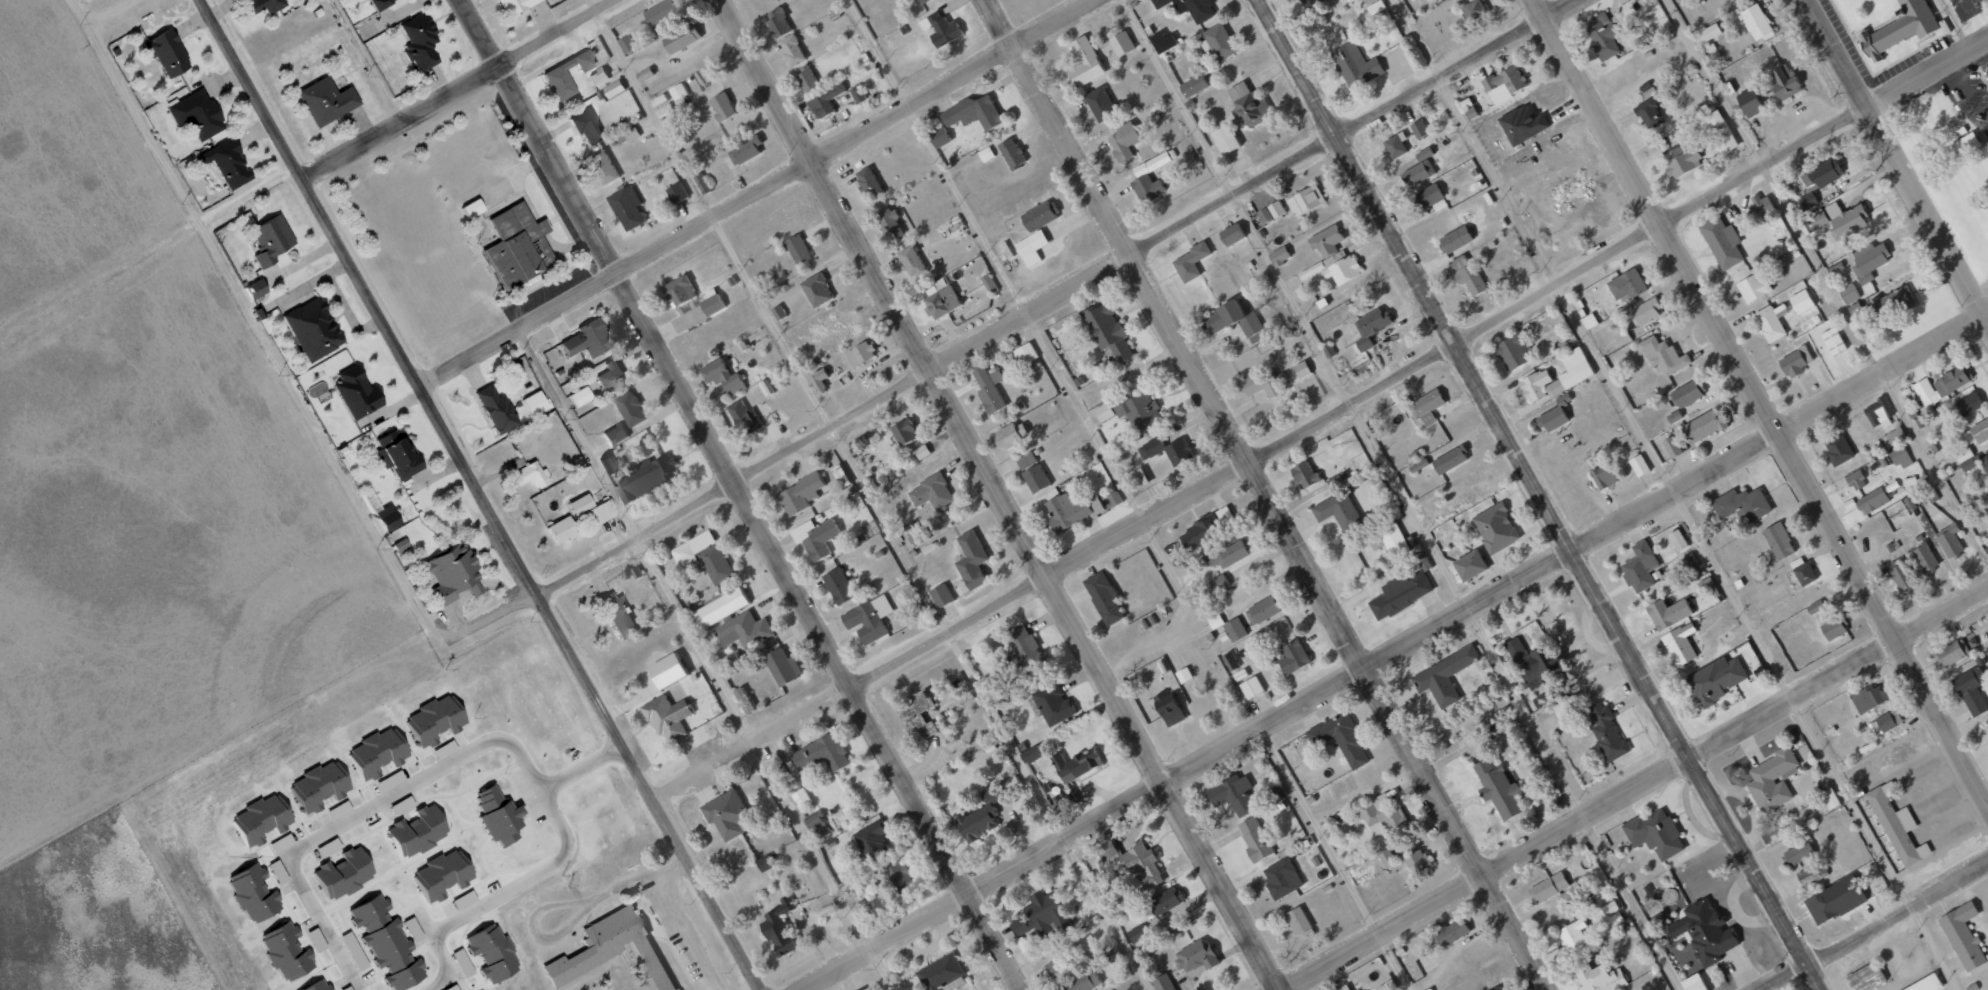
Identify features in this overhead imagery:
building: (918, 1)
building: (376, 3)
building: (1310, 3)
building: (261, 5)
building: (512, 5)
building: (1191, 8)
building: (1473, 9)
building: (659, 17)
building: (778, 22)
building: (1756, 22)
road: (1955, 26)
building: (943, 29)
building: (1902, 29)
building: (1708, 33)
building: (1603, 35)
building: (682, 38)
building: (416, 41)
building: (1163, 41)
building: (1218, 42)
building: (627, 43)
building: (1121, 43)
building: (791, 50)
building: (163, 51)
road: (367, 60)
building: (581, 60)
building: (1085, 63)
building: (1355, 64)
building: (645, 74)
building: (597, 76)
building: (807, 79)
building: (556, 80)
building: (1784, 81)
building: (1504, 83)
building: (1193, 85)
building: (614, 88)
road: (457, 89)
building: (678, 90)
building: (859, 94)
building: (322, 100)
building: (825, 101)
building: (1100, 103)
building: (1749, 103)
building: (1247, 104)
building: (722, 106)
building: (974, 111)
building: (193, 113)
building: (1649, 113)
building: (584, 125)
building: (1419, 128)
building: (1720, 131)
building: (628, 135)
building: (940, 136)
building: (1225, 139)
building: (1123, 141)
building: (1965, 144)
building: (1395, 145)
building: (744, 150)
building: (1012, 152)
building: (987, 154)
building: (1424, 154)
building: (1681, 160)
building: (224, 162)
road: (1893, 164)
building: (602, 166)
building: (1418, 172)
building: (1142, 175)
building: (1818, 181)
building: (868, 182)
building: (702, 183)
road: (1250, 184)
building: (1567, 189)
building: (677, 192)
road: (758, 193)
building: (1429, 195)
building: (1306, 199)
building: (1763, 205)
building: (626, 207)
building: (467, 208)
building: (1271, 212)
building: (1040, 215)
building: (1846, 219)
building: (1818, 220)
building: (892, 222)
building: (1231, 234)
building: (267, 238)
building: (1455, 239)
building: (1326, 241)
building: (1722, 242)
building: (1031, 243)
building: (517, 247)
building: (798, 249)
building: (1279, 255)
building: (911, 261)
building: (1191, 261)
building: (1868, 261)
building: (1334, 269)
building: (1467, 274)
building: (989, 282)
road: (1827, 284)
building: (1626, 285)
building: (1753, 287)
building: (251, 289)
building: (678, 290)
building: (817, 290)
building: (1849, 293)
building: (1801, 301)
building: (942, 302)
building: (1893, 303)
building: (712, 304)
building: (1645, 311)
building: (1231, 319)
building: (1770, 322)
building: (1370, 326)
building: (308, 329)
building: (1108, 330)
building: (584, 338)
building: (1833, 341)
building: (1513, 351)
building: (860, 353)
building: (1025, 354)
building: (1663, 355)
building: (1794, 362)
building: (1302, 369)
building: (1571, 372)
road: (284, 374)
building: (610, 374)
building: (723, 376)
building: (1953, 379)
building: (819, 380)
building: (1264, 384)
building: (1535, 385)
building: (989, 389)
building: (360, 393)
building: (1687, 393)
building: (1925, 393)
building: (577, 396)
building: (1563, 398)
road: (1760, 402)
building: (536, 403)
building: (1969, 403)
building: (1428, 406)
building: (498, 407)
building: (631, 408)
building: (1138, 409)
building: (1104, 412)
building: (1674, 417)
building: (1878, 417)
building: (743, 419)
building: (1552, 419)
road: (1318, 420)
building: (1704, 425)
building: (904, 431)
building: (1975, 433)
building: (1011, 434)
building: (613, 435)
building: (1893, 437)
building: (858, 442)
building: (1671, 447)
building: (1838, 449)
building: (1167, 450)
building: (922, 451)
road: (1655, 452)
building: (397, 453)
building: (1901, 457)
building: (1967, 459)
building: (1450, 460)
building: (605, 462)
building: (1985, 462)
building: (1880, 464)
building: (1639, 465)
building: (1032, 472)
building: (1305, 474)
building: (532, 475)
building: (646, 477)
building: (1603, 477)
road: (728, 478)
building: (1856, 480)
building: (932, 492)
road: (739, 494)
building: (800, 494)
road: (868, 494)
road: (999, 494)
road: (478, 495)
road: (1129, 495)
road: (1266, 495)
road: (1403, 495)
road: (1538, 495)
building: (1930, 495)
building: (1111, 499)
building: (1873, 500)
building: (1742, 503)
building: (1337, 510)
building: (1067, 511)
building: (599, 512)
building: (388, 515)
building: (1224, 515)
building: (564, 528)
building: (1495, 528)
building: (915, 533)
building: (1201, 533)
building: (815, 537)
building: (1394, 539)
building: (1678, 540)
building: (1779, 541)
building: (1949, 541)
building: (397, 547)
building: (1228, 555)
building: (703, 556)
building: (1924, 557)
building: (971, 559)
building: (1469, 565)
building: (1640, 567)
building: (450, 570)
building: (1802, 571)
building: (1900, 574)
building: (1219, 583)
building: (839, 585)
building: (1707, 587)
building: (1401, 593)
building: (941, 595)
building: (1104, 597)
building: (1814, 607)
building: (721, 608)
building: (1264, 609)
building: (620, 612)
building: (1668, 613)
building: (869, 619)
building: (1834, 627)
building: (1234, 629)
building: (744, 630)
building: (1680, 644)
building: (1025, 650)
road: (1394, 651)
building: (1952, 652)
building: (1293, 657)
road: (705, 658)
building: (1539, 658)
building: (1230, 660)
building: (783, 666)
building: (667, 671)
building: (1444, 676)
building: (1715, 680)
building: (1252, 687)
building: (1971, 690)
building: (1868, 697)
building: (743, 700)
building: (1054, 703)
building: (1572, 706)
building: (1168, 708)
building: (671, 713)
building: (917, 714)
building: (429, 718)
building: (1889, 720)
building: (1874, 728)
building: (1612, 731)
building: (1340, 738)
building: (370, 753)
building: (822, 753)
building: (1031, 753)
building: (1076, 764)
road: (577, 768)
building: (1777, 778)
building: (312, 786)
road: (1635, 788)
building: (1498, 789)
building: (1234, 794)
building: (1835, 798)
building: (1067, 800)
road: (372, 804)
building: (731, 812)
building: (1383, 814)
building: (491, 815)
building: (980, 817)
building: (1343, 817)
building: (255, 818)
building: (817, 825)
building: (1896, 825)
building: (412, 831)
building: (1660, 832)
building: (1255, 838)
building: (873, 839)
building: (278, 843)
building: (1798, 853)
building: (1387, 858)
building: (1133, 861)
building: (1417, 861)
building: (770, 863)
building: (338, 873)
building: (1812, 873)
building: (435, 875)
building: (899, 875)
building: (1281, 878)
building: (1549, 887)
building: (248, 892)
building: (460, 900)
building: (1167, 900)
building: (1835, 900)
building: (1609, 908)
building: (1044, 911)
road: (458, 913)
building: (783, 920)
building: (1297, 920)
building: (1964, 925)
building: (1019, 926)
road: (1876, 926)
building: (410, 929)
building: (1451, 931)
building: (1705, 932)
building: (1137, 934)
building: (1573, 935)
building: (380, 941)
building: (616, 949)
building: (281, 951)
building: (486, 952)
building: (1113, 955)
building: (1196, 956)
building: (464, 970)
building: (940, 972)
building: (1871, 976)
building: (1600, 977)
building: (1082, 982)
building: (1163, 982)
building: (1693, 983)
building: (1930, 983)
building: (311, 986)
building: (449, 988)
building: (1344, 988)
building: (1499, 988)

